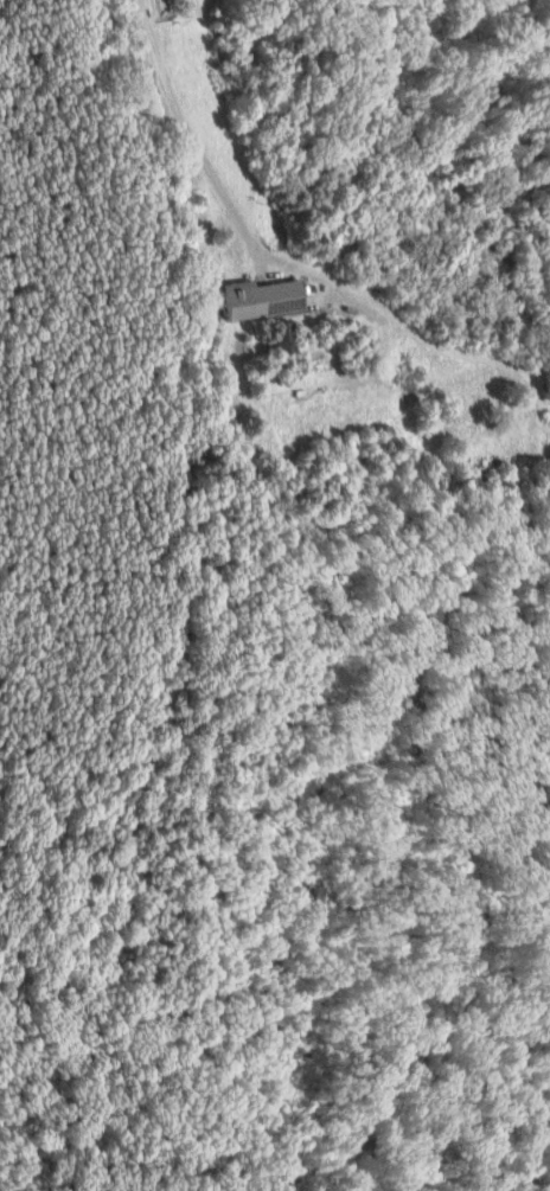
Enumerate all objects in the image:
road: (187, 139)
building: (250, 300)
building: (275, 335)

